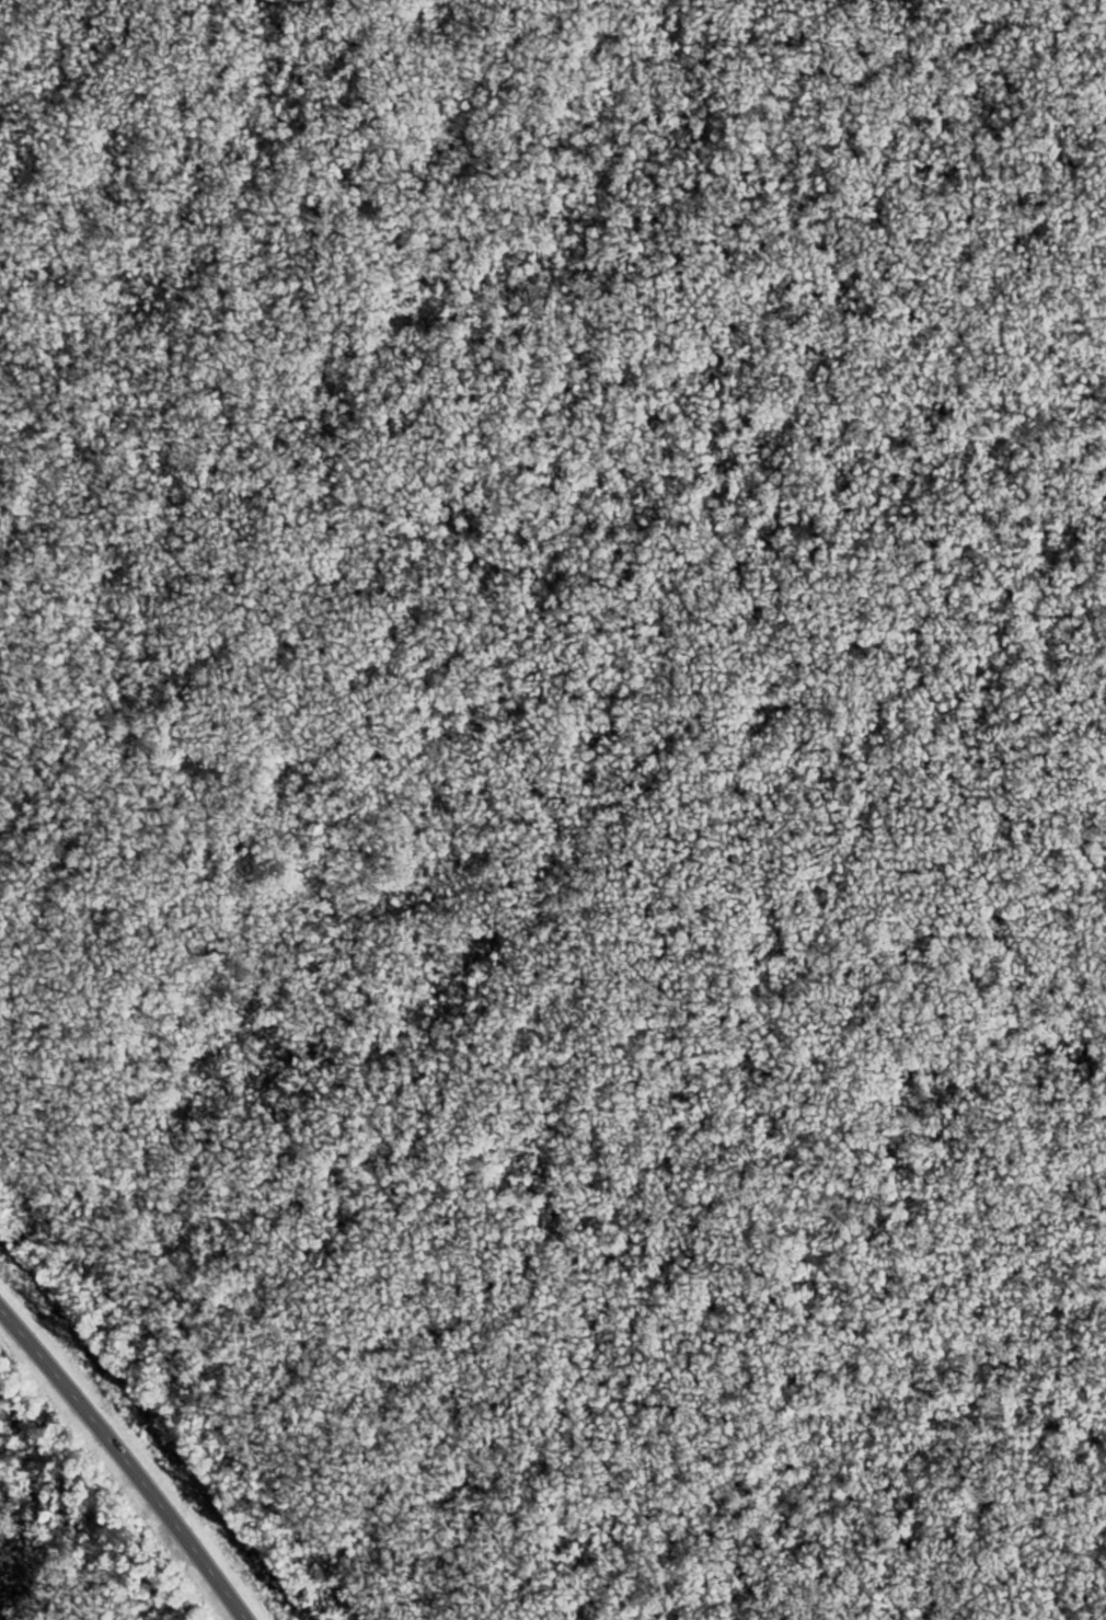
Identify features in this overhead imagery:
road: (135, 1450)

